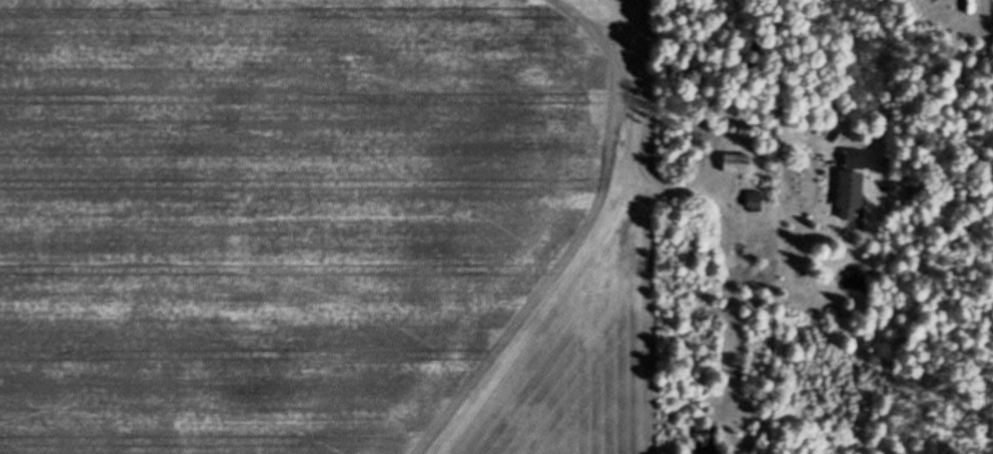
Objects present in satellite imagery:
building: (739, 163)
building: (855, 186)
crop: (331, 227)

